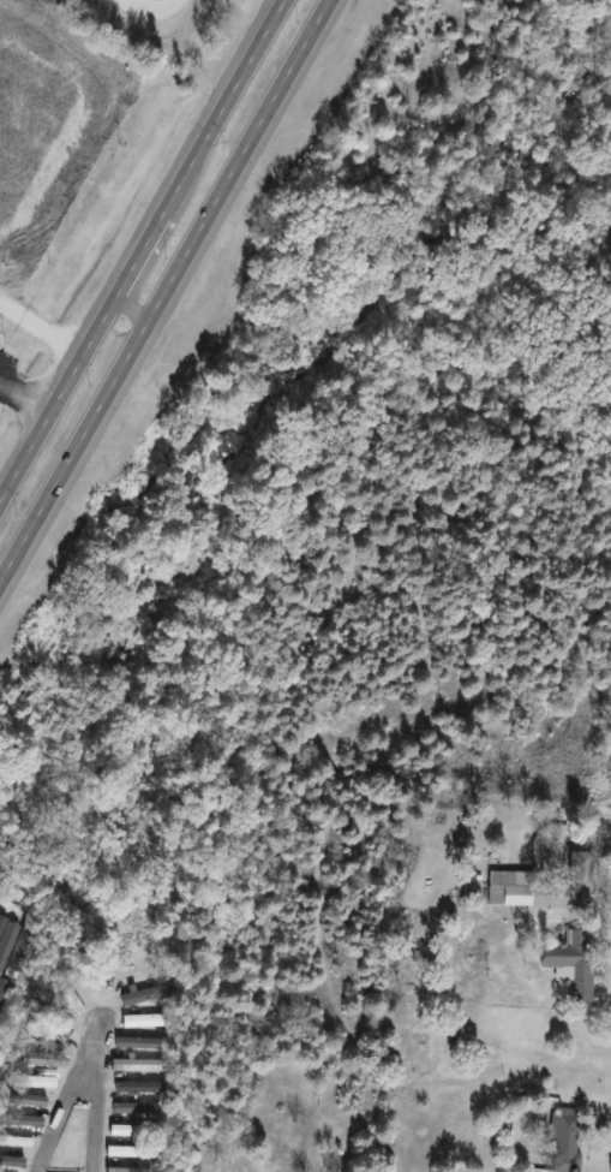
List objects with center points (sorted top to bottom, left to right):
road: (148, 10)
building: (5, 124)
road: (139, 248)
road: (164, 292)
road: (132, 305)
road: (24, 398)
building: (547, 890)
building: (132, 923)
building: (570, 963)
building: (142, 995)
building: (71, 1003)
road: (515, 1016)
building: (140, 1021)
building: (61, 1029)
building: (136, 1043)
building: (40, 1059)
building: (137, 1065)
building: (34, 1081)
building: (136, 1087)
road: (419, 1093)
building: (24, 1099)
road: (71, 1100)
road: (101, 1100)
building: (134, 1108)
building: (20, 1120)
building: (124, 1130)
building: (14, 1141)
building: (563, 1141)
building: (127, 1150)
building: (11, 1161)
building: (128, 1170)

